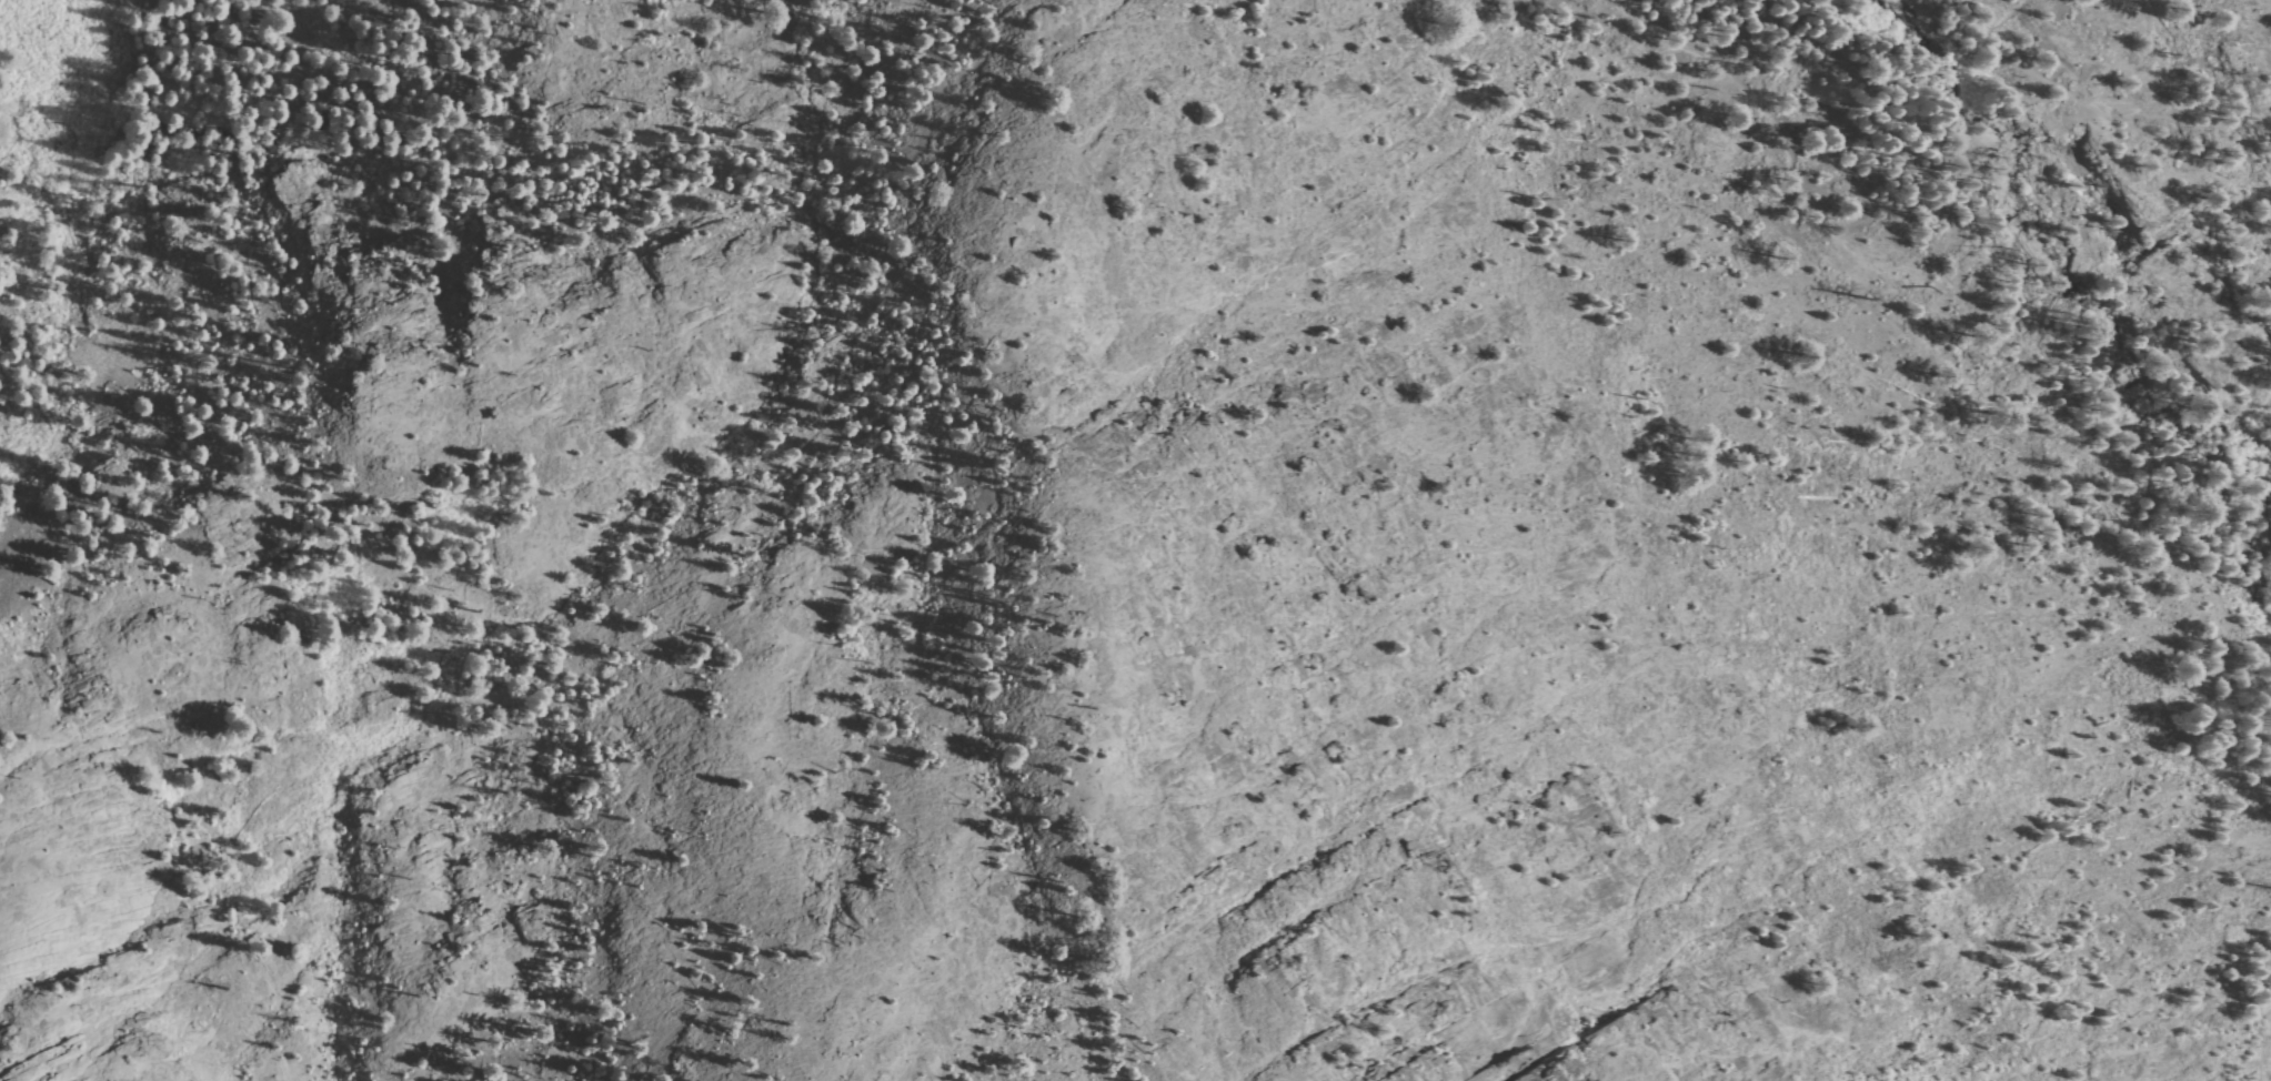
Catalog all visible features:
road: (1992, 13)
road: (2178, 119)
road: (2179, 283)
road: (2030, 337)

